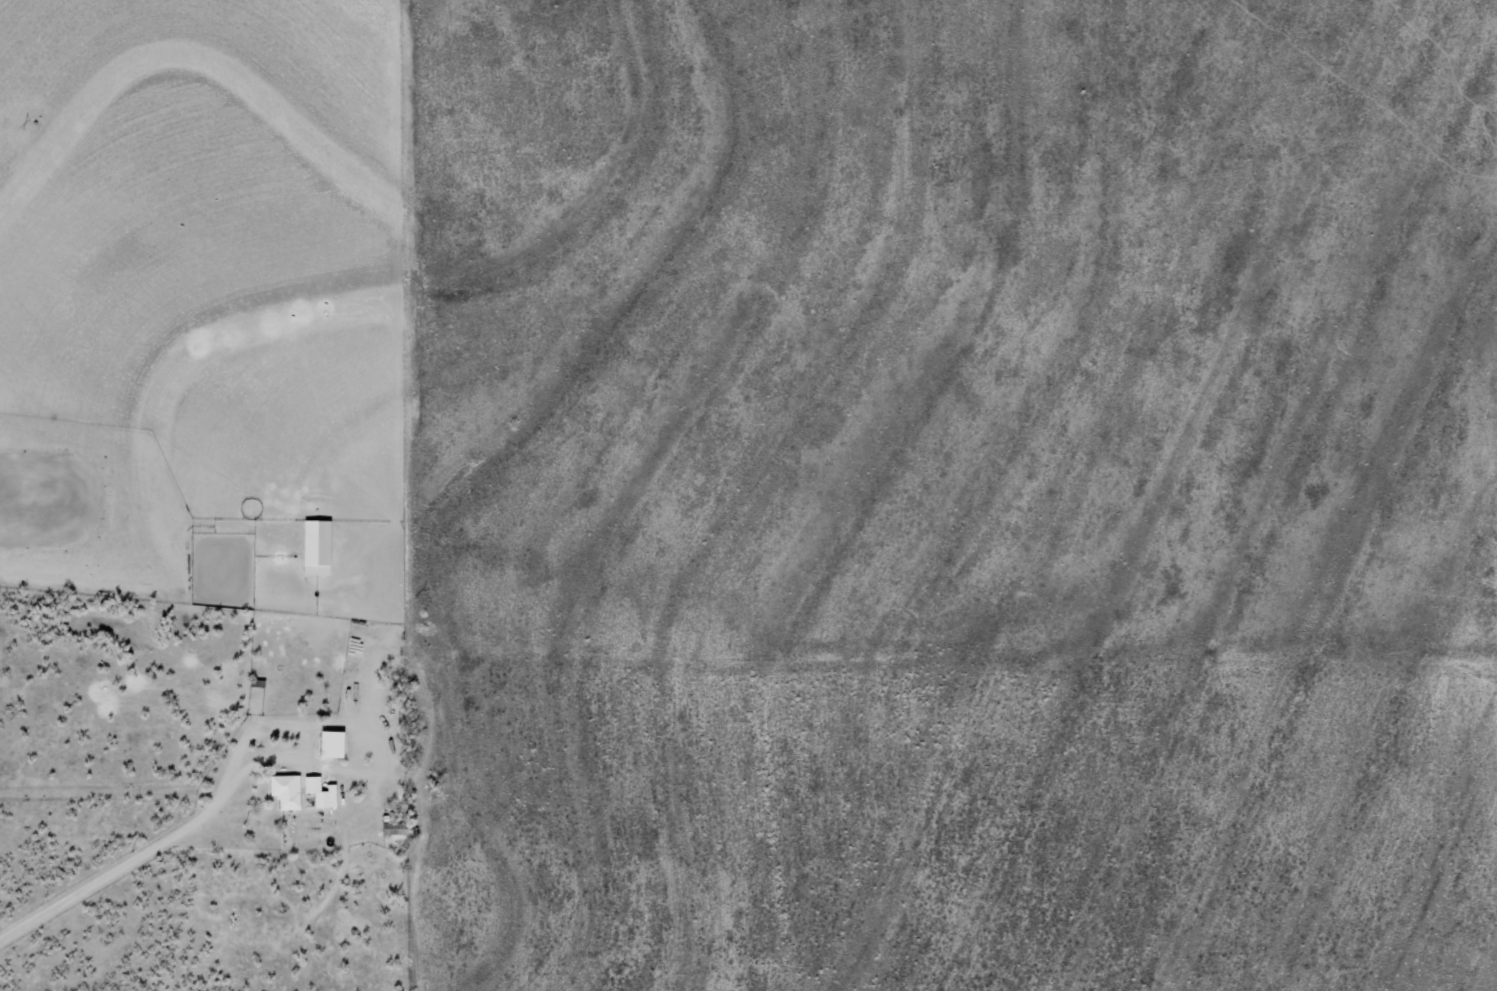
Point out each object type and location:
road: (1336, 186)
building: (319, 547)
building: (289, 791)
building: (323, 791)
road: (117, 892)

